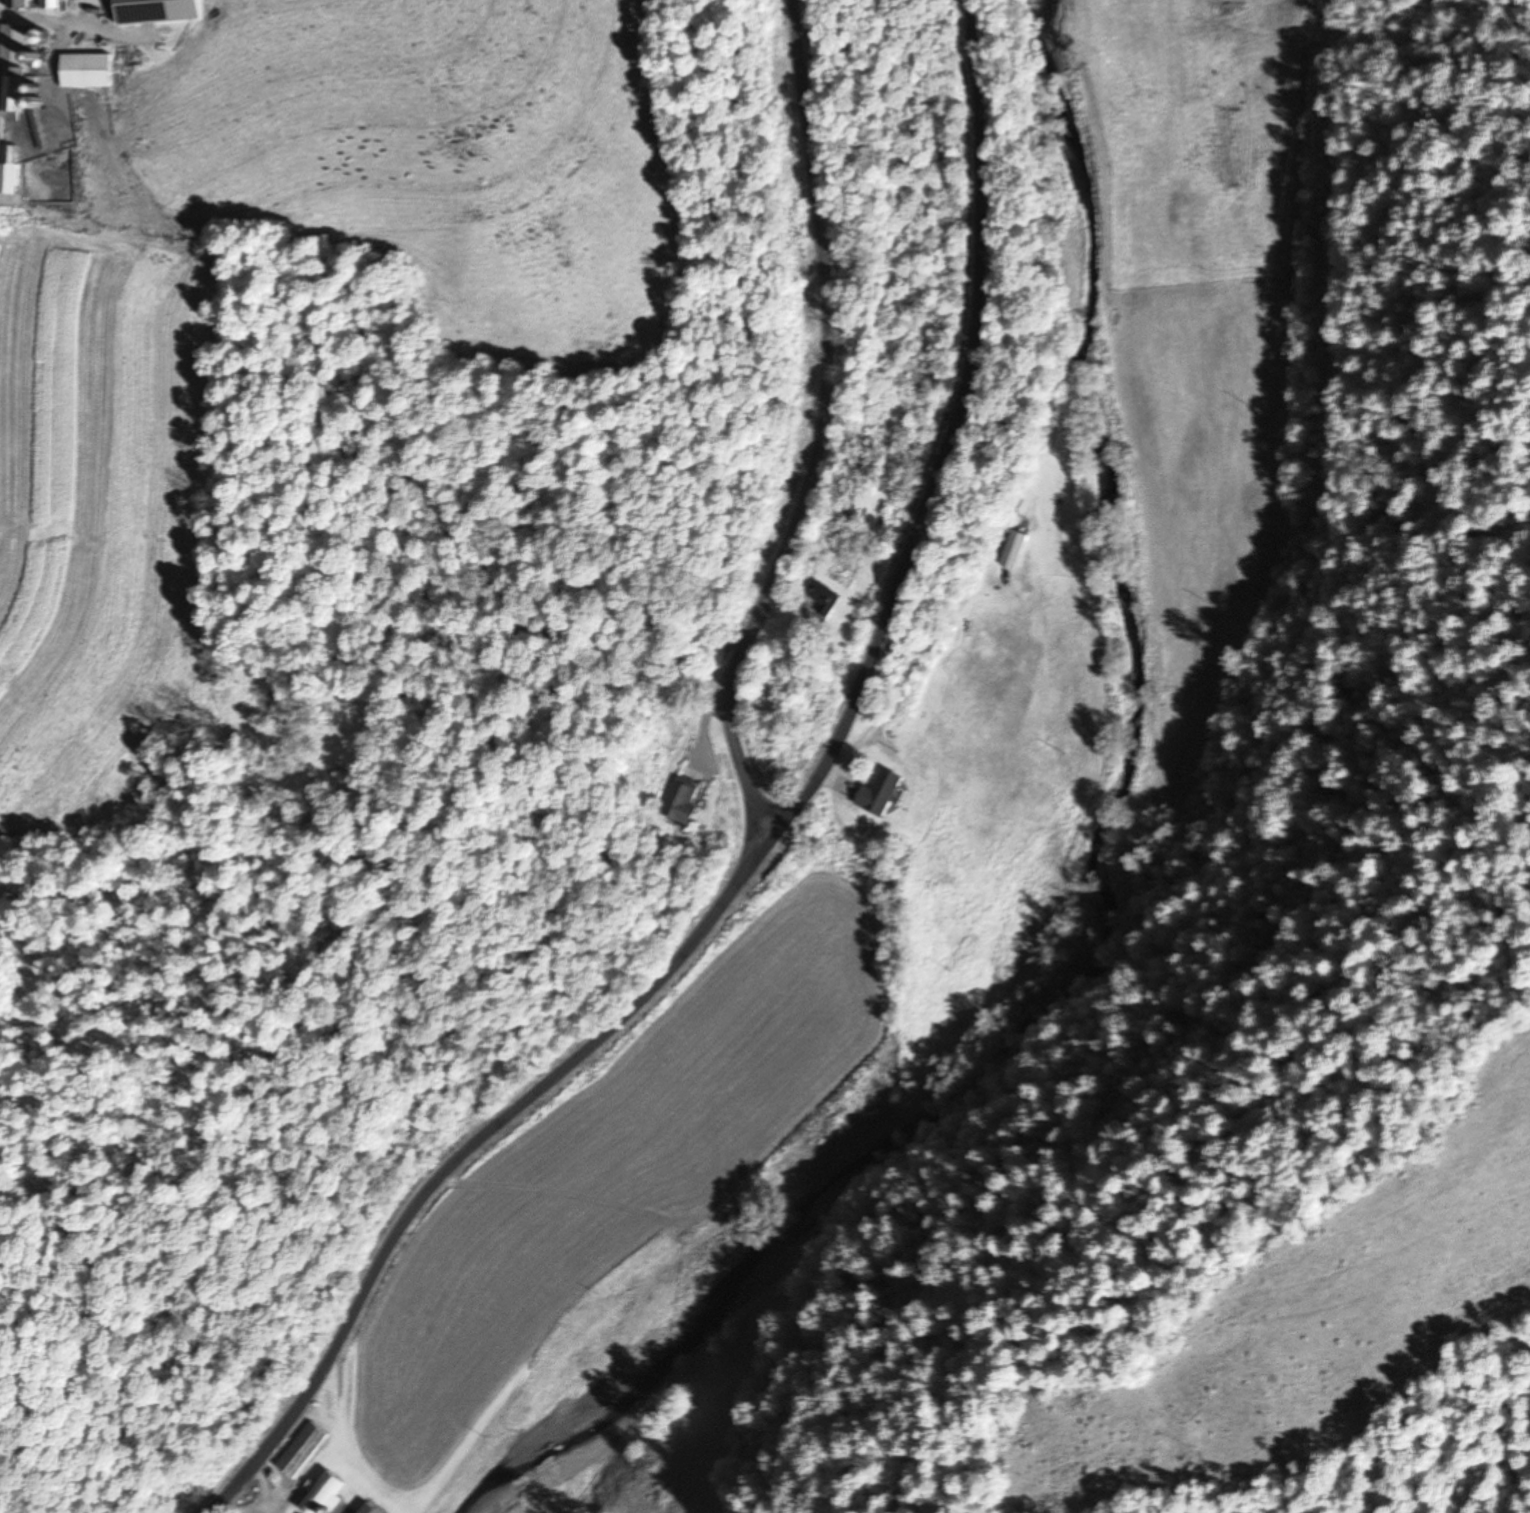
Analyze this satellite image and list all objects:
building: (14, 4)
building: (47, 4)
building: (155, 12)
building: (18, 64)
building: (83, 71)
building: (7, 170)
road: (824, 435)
building: (845, 505)
building: (1011, 551)
building: (821, 596)
building: (876, 794)
building: (678, 802)
road: (778, 839)
building: (298, 1451)
building: (320, 1495)

